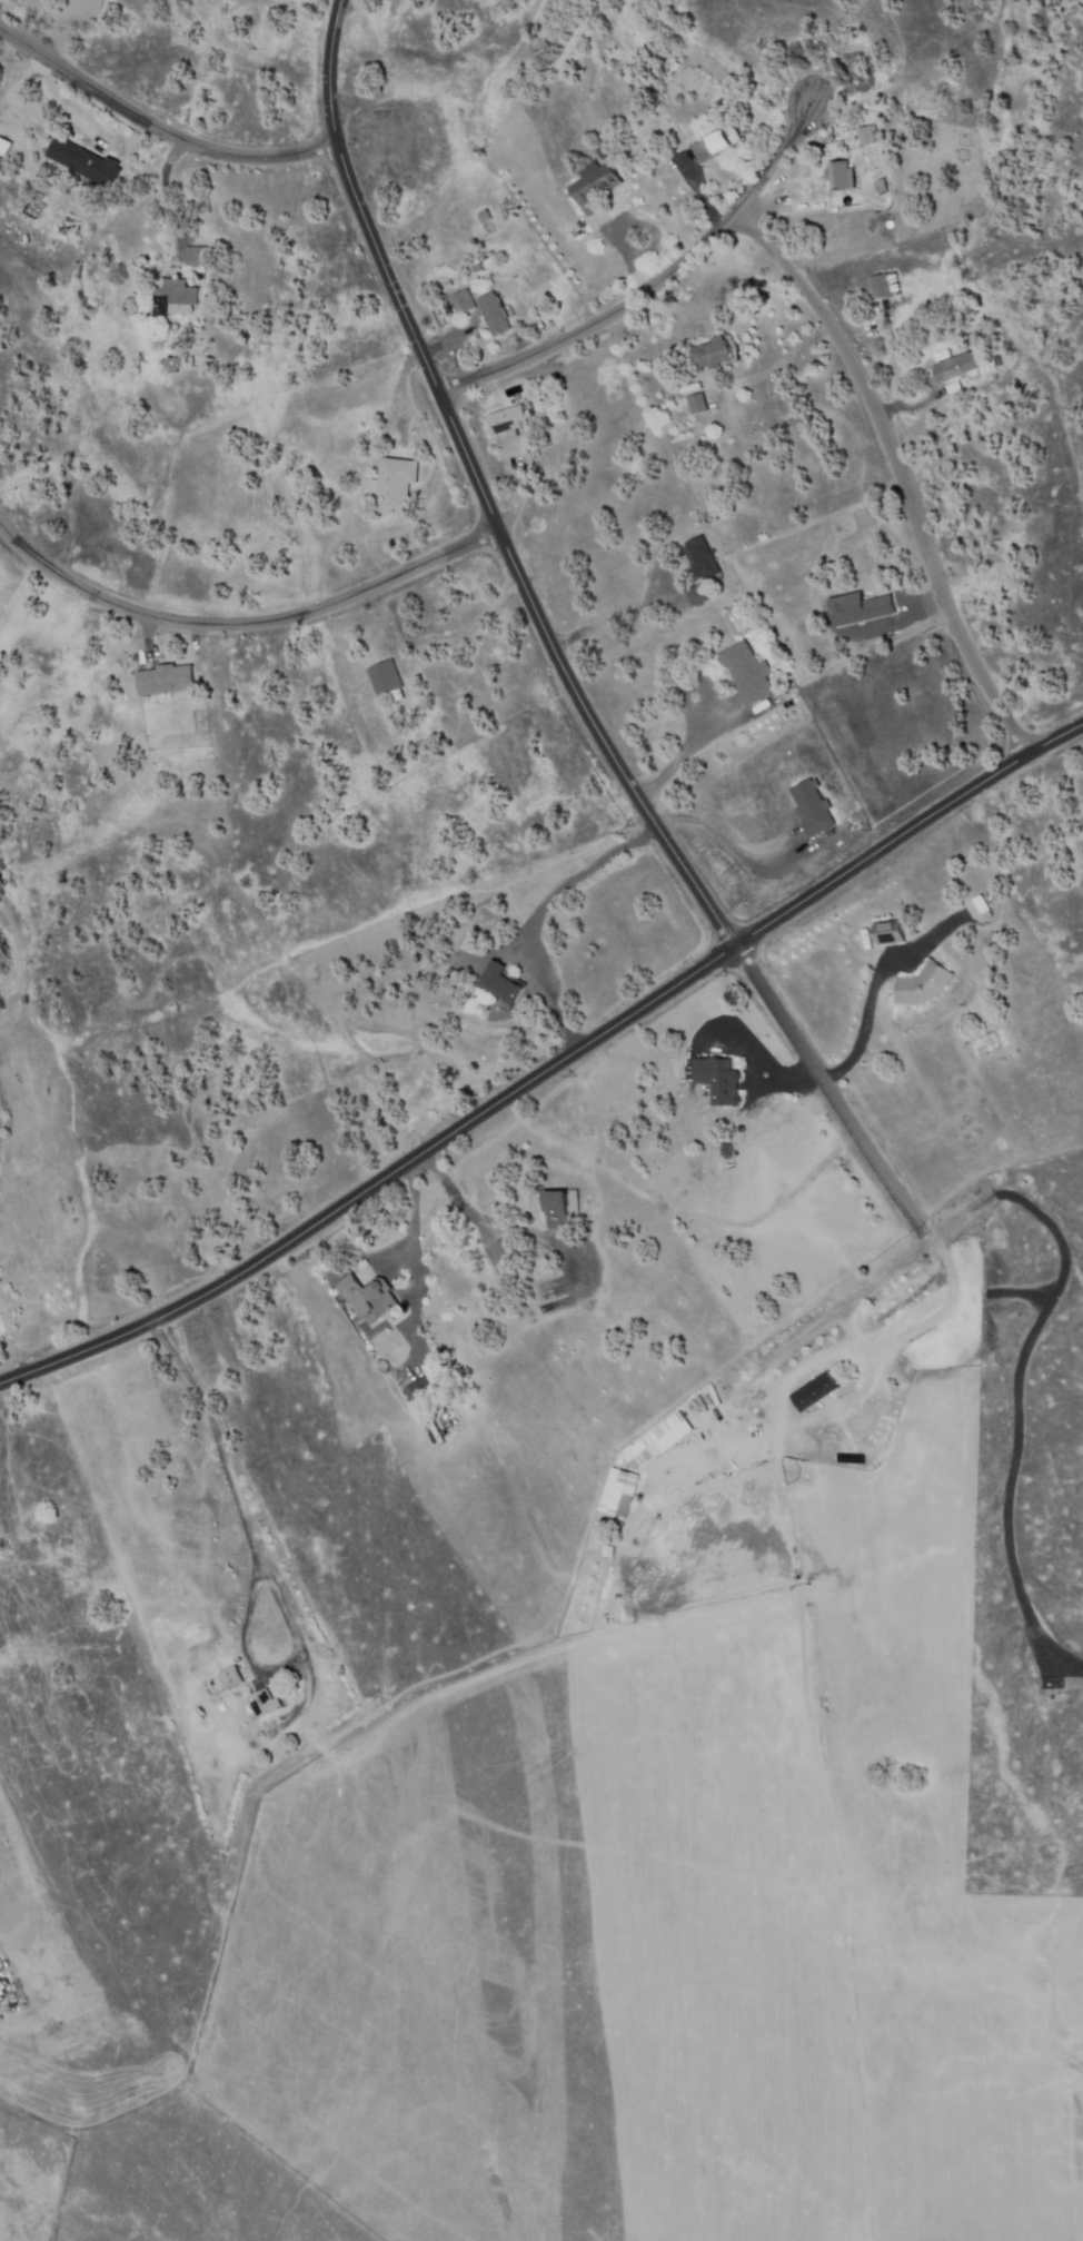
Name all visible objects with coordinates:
road: (156, 131)
building: (867, 136)
building: (718, 143)
building: (2, 147)
building: (87, 165)
building: (841, 177)
building: (595, 186)
building: (881, 186)
building: (486, 216)
building: (486, 256)
building: (198, 257)
building: (478, 268)
road: (648, 281)
building: (447, 285)
building: (881, 286)
building: (175, 292)
building: (463, 303)
building: (495, 314)
building: (715, 351)
building: (943, 354)
building: (996, 360)
building: (178, 365)
building: (954, 367)
building: (953, 388)
building: (696, 404)
building: (510, 422)
road: (893, 472)
building: (305, 477)
building: (394, 486)
building: (325, 494)
building: (318, 510)
building: (702, 558)
building: (697, 595)
building: (858, 608)
road: (242, 623)
road: (546, 642)
building: (355, 643)
building: (746, 672)
building: (166, 680)
building: (386, 682)
building: (762, 703)
building: (423, 747)
building: (812, 807)
building: (976, 909)
building: (888, 932)
building: (923, 984)
building: (500, 985)
road: (548, 1068)
building: (718, 1080)
building: (726, 1150)
building: (558, 1208)
building: (504, 1251)
building: (369, 1298)
building: (434, 1378)
building: (421, 1389)
building: (231, 1677)
building: (264, 1703)
building: (222, 1707)

